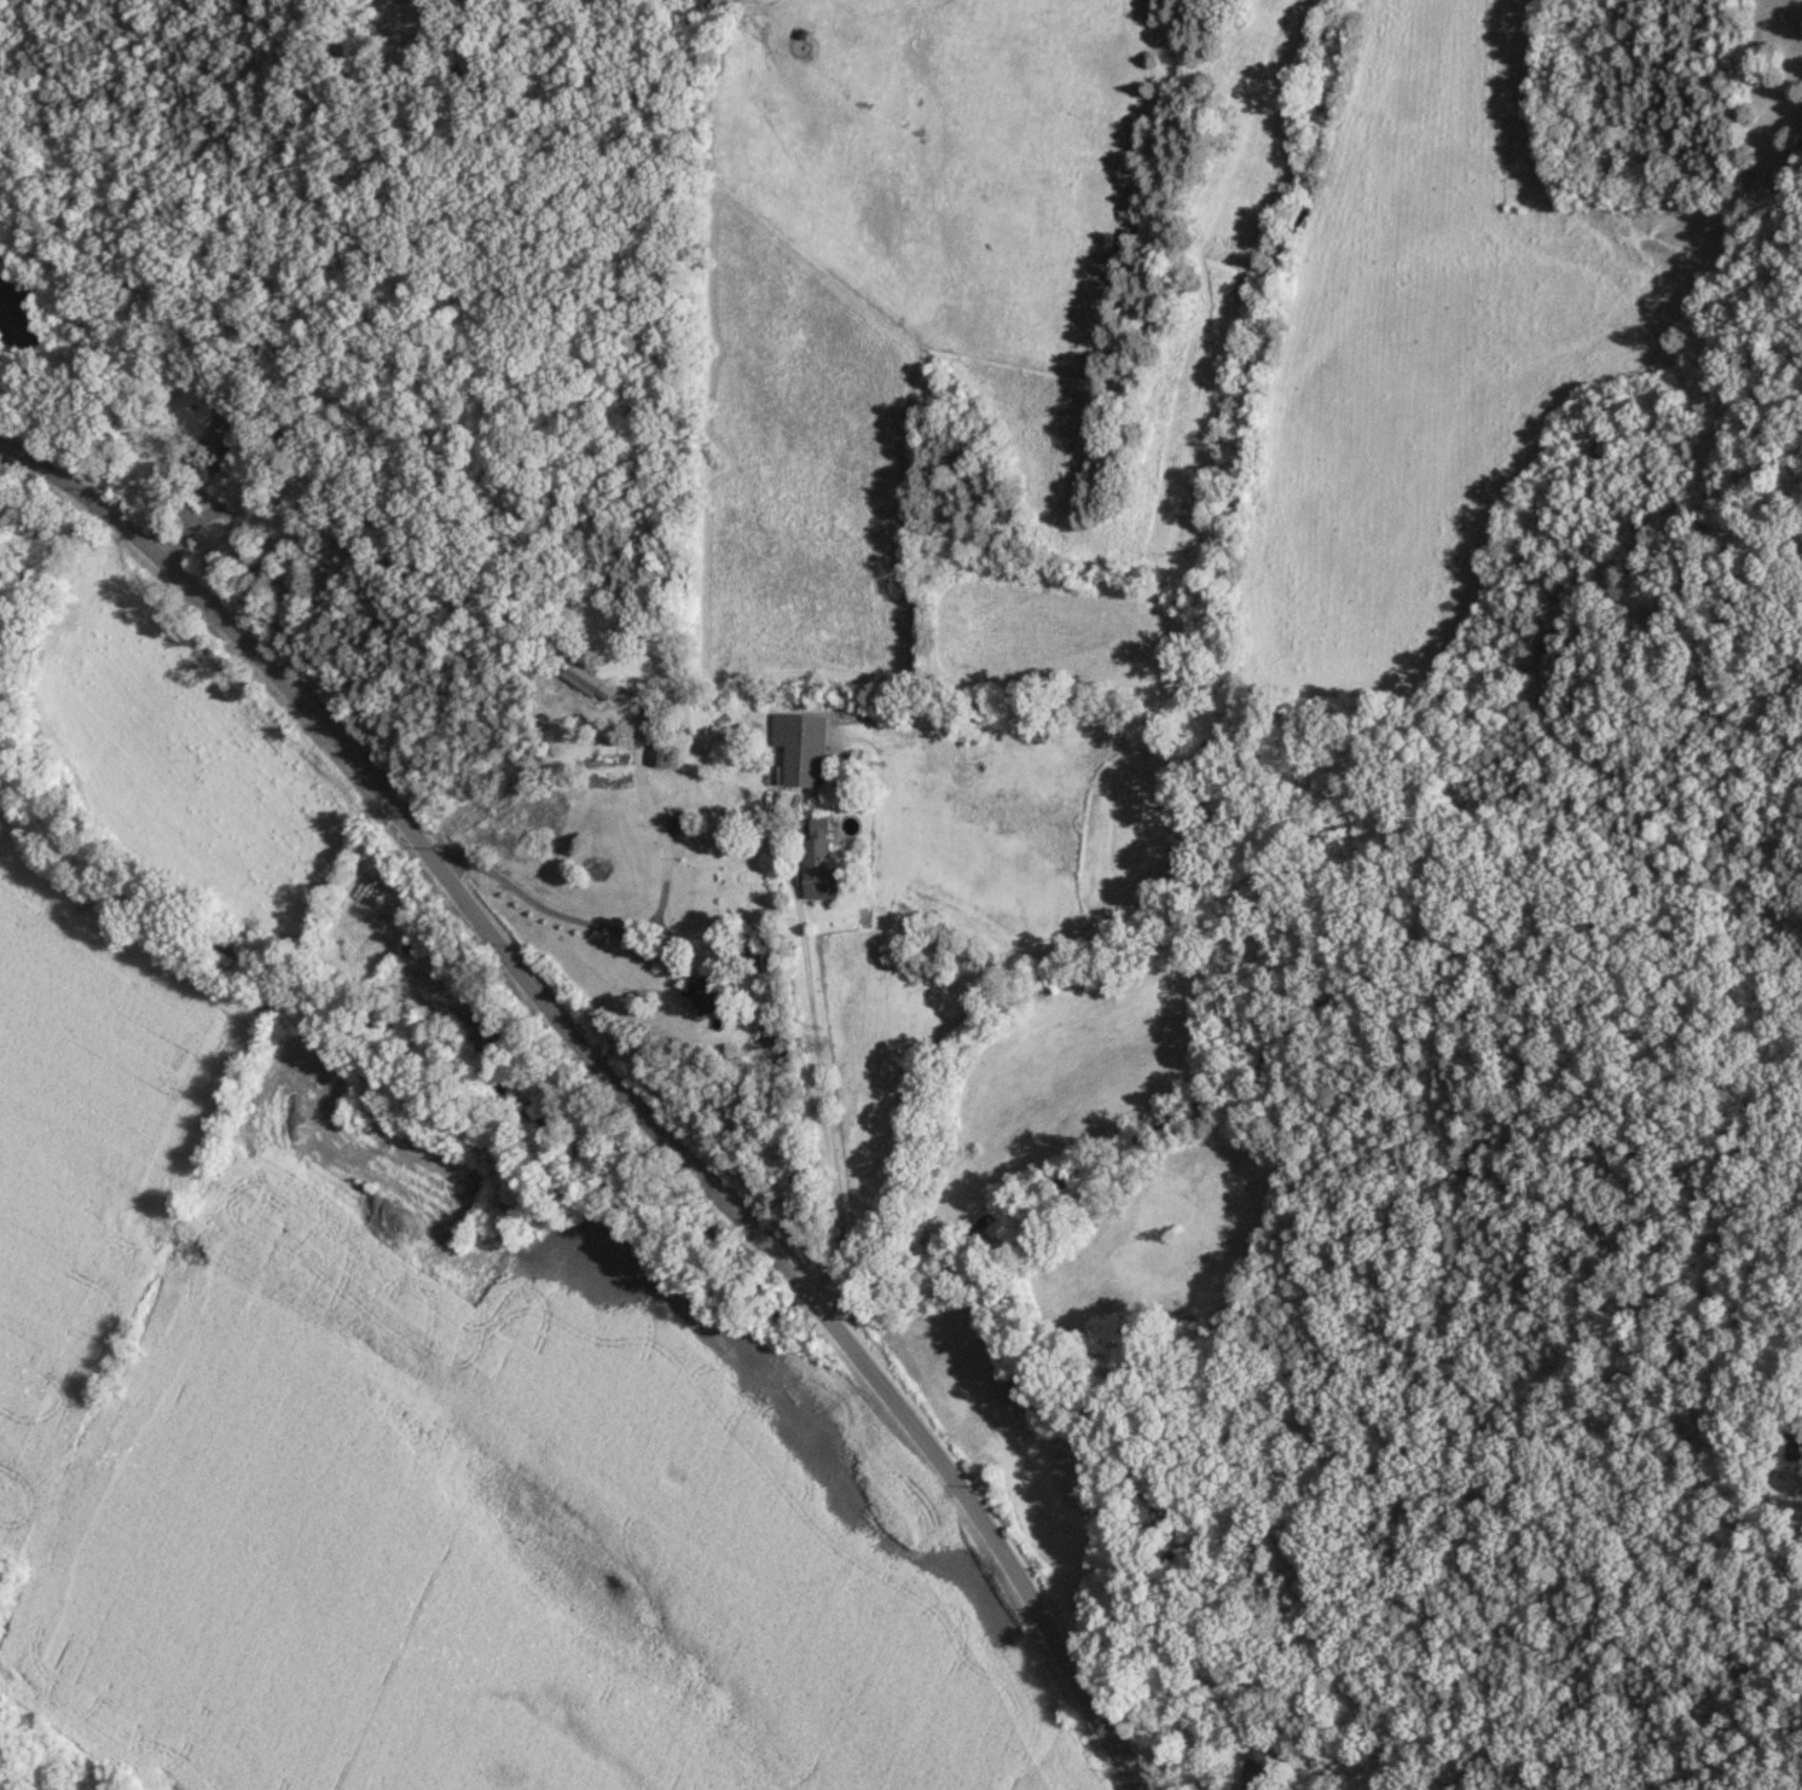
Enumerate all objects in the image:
building: (1147, 232)
building: (231, 415)
building: (215, 458)
road: (170, 493)
building: (803, 748)
road: (641, 774)
building: (818, 847)
road: (627, 934)
building: (412, 945)
building: (713, 996)
building: (492, 1038)
road: (817, 1055)
road: (608, 1081)
building: (1790, 1421)
building: (1257, 1771)

